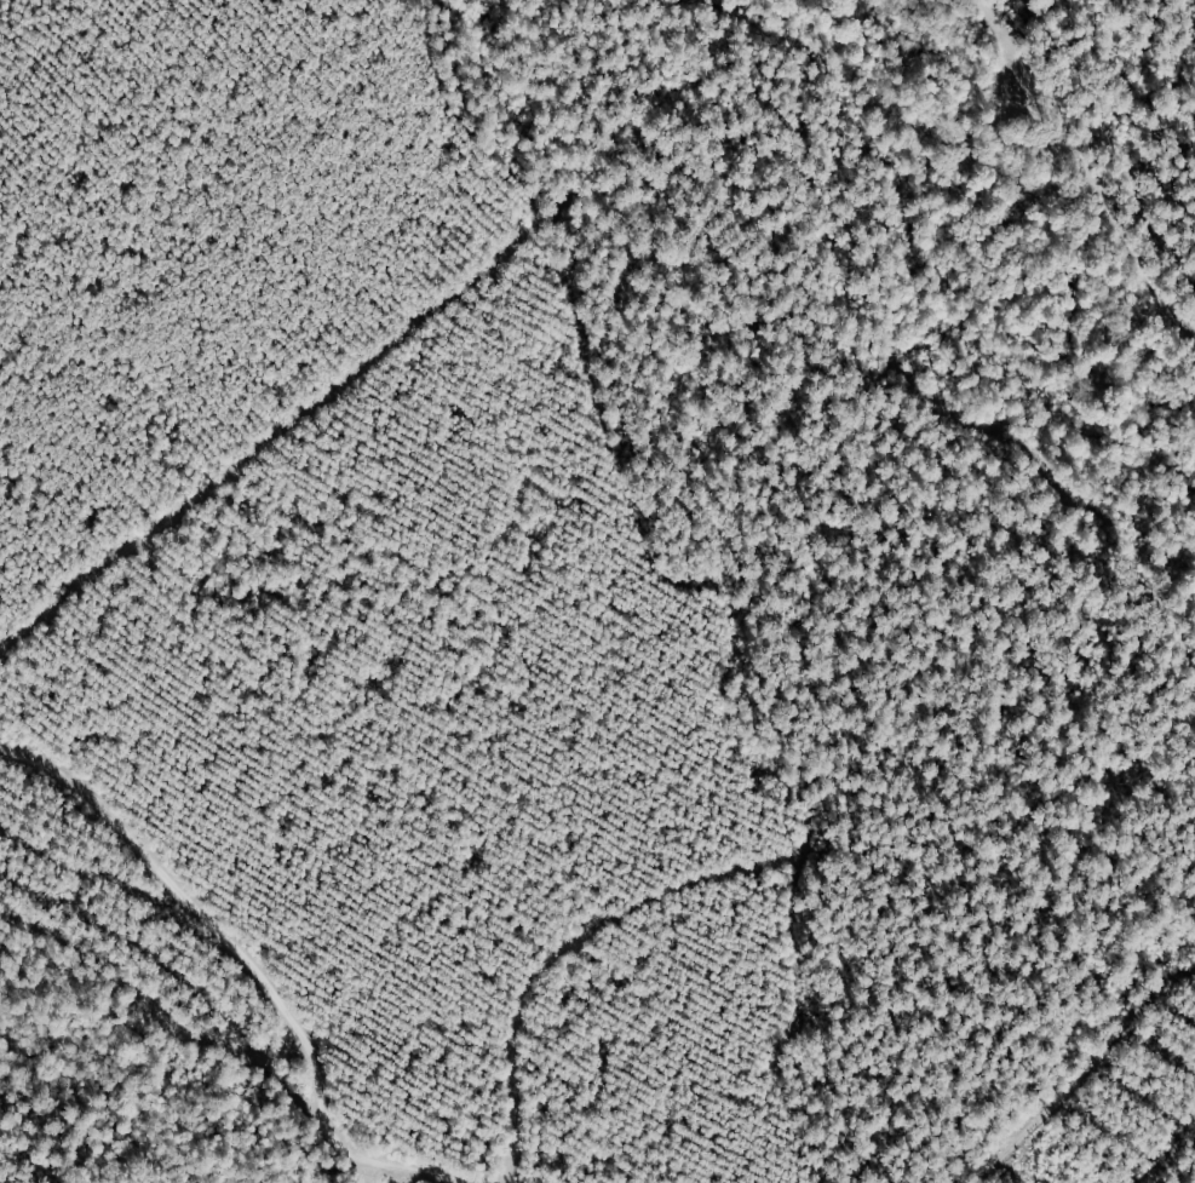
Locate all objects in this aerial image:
road: (257, 942)
road: (1057, 1061)

